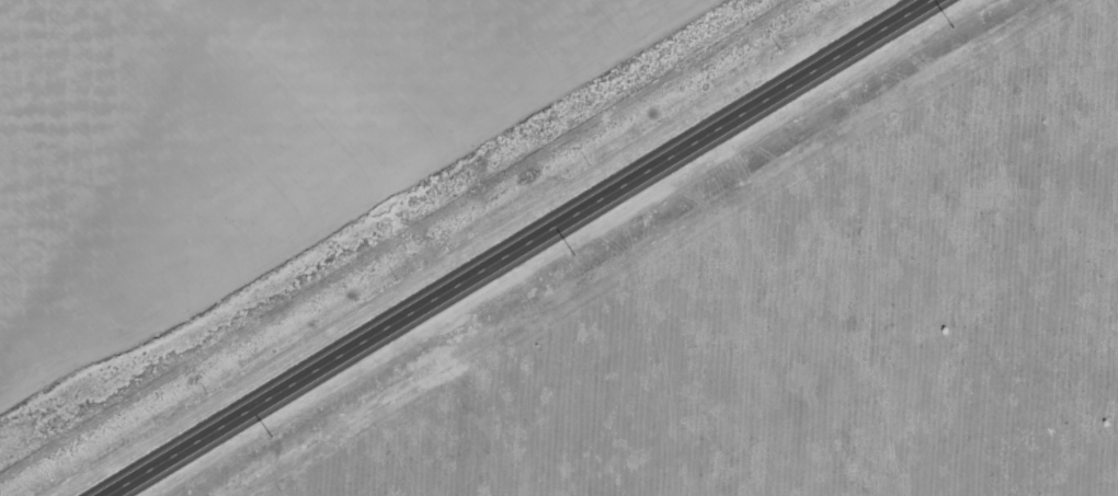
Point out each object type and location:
power tower: (950, 25)
road: (523, 247)
power tower: (570, 253)
power tower: (270, 435)

